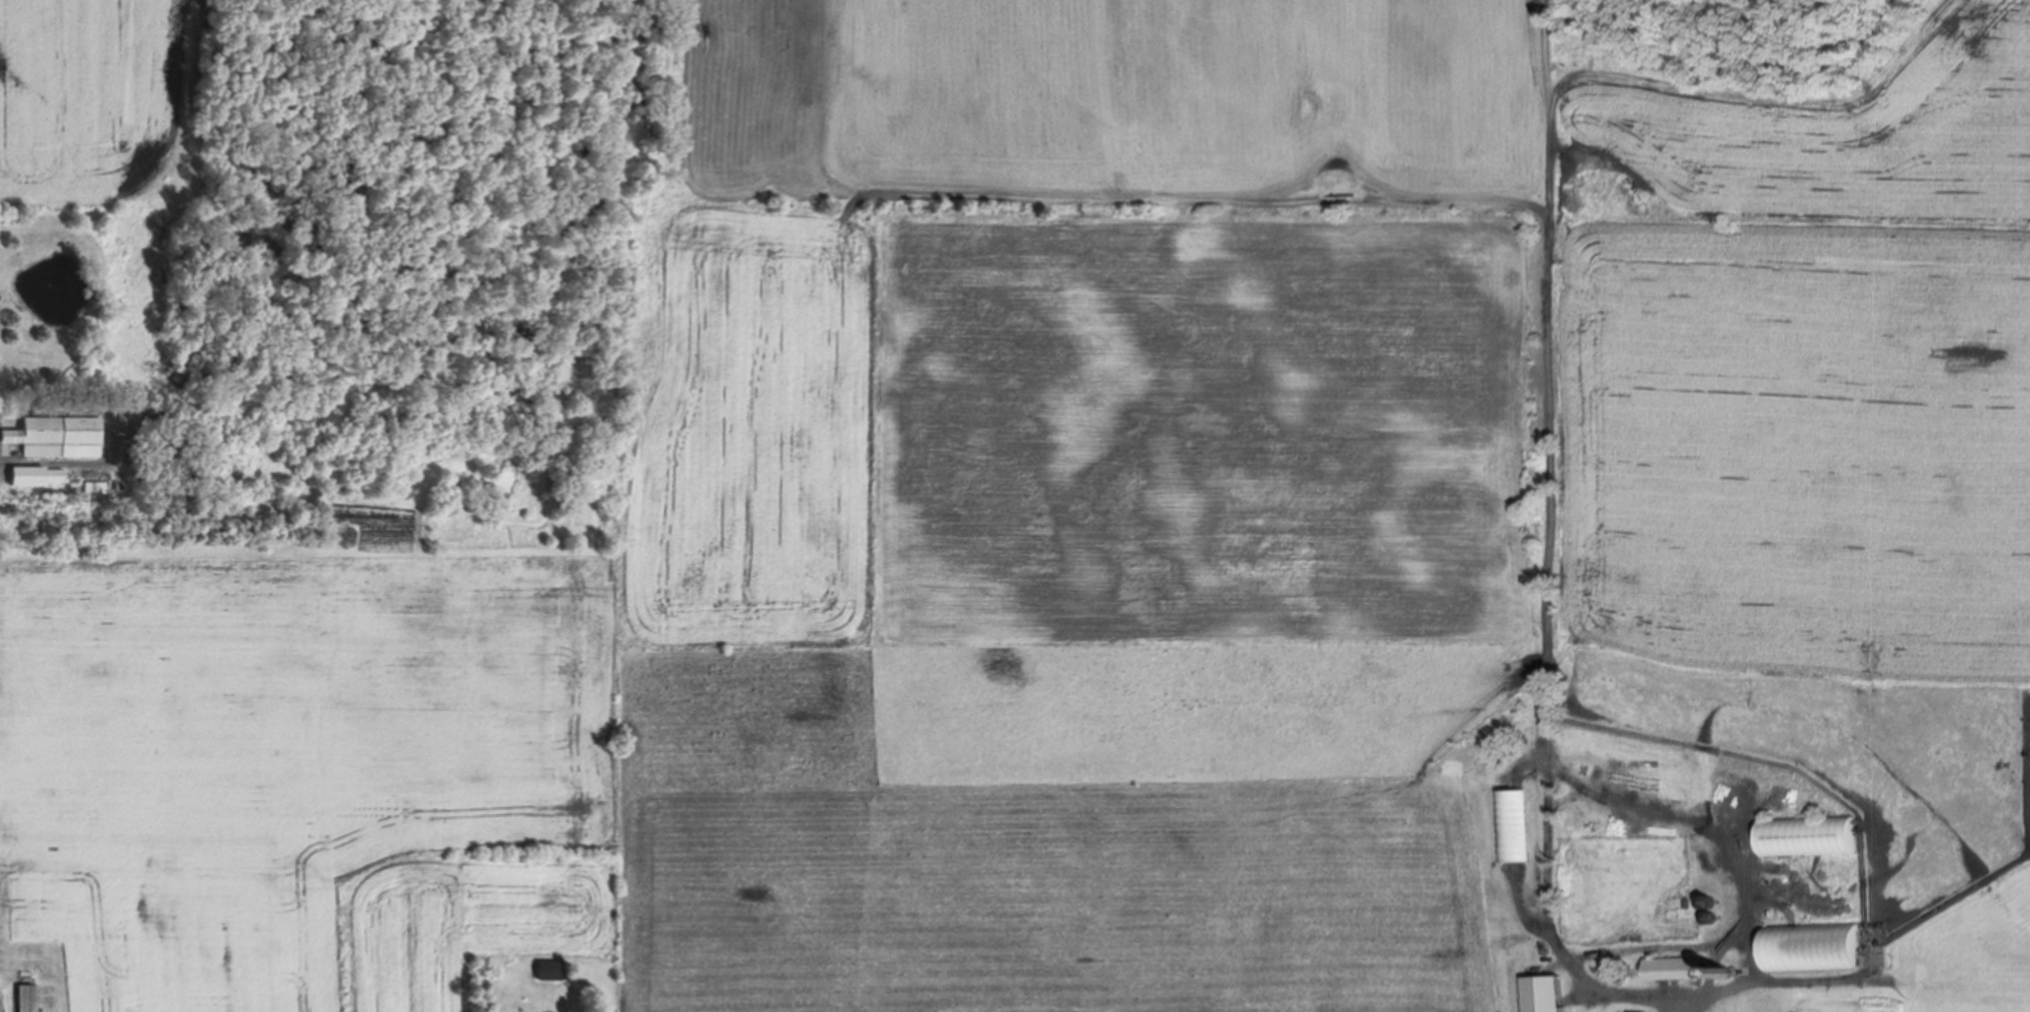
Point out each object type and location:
fountain: (50, 279)
building: (60, 435)
building: (29, 475)
building: (56, 475)
road: (1589, 781)
building: (1513, 828)
building: (1809, 838)
building: (1708, 899)
building: (1710, 917)
building: (1813, 948)
building: (1726, 971)
building: (1676, 972)
building: (549, 974)
building: (1544, 996)
building: (27, 1000)
road: (1685, 1006)

